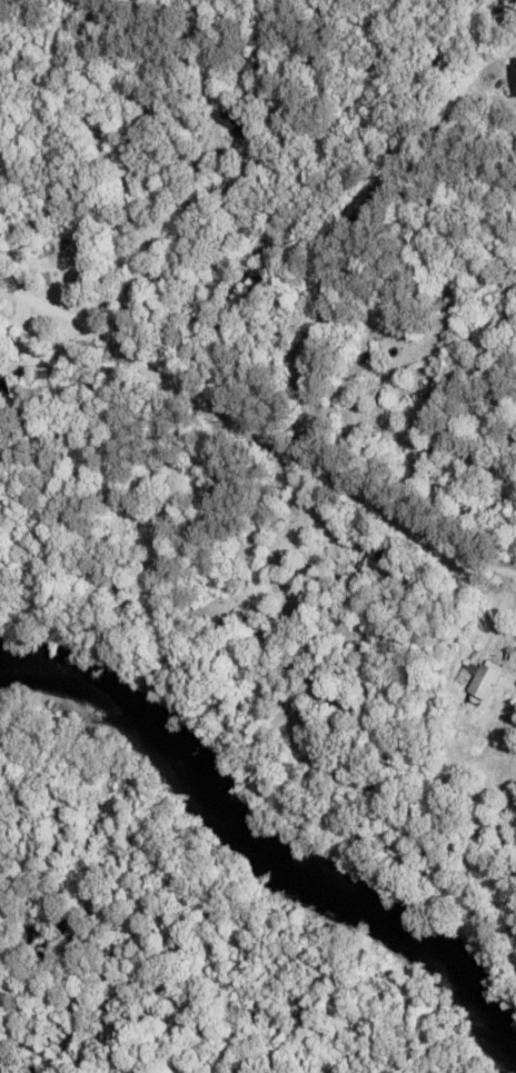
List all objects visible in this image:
building: (247, 70)
building: (512, 76)
building: (234, 122)
building: (436, 300)
building: (420, 391)
road: (257, 428)
building: (142, 521)
building: (373, 557)
building: (173, 656)
building: (483, 682)
river: (265, 837)

